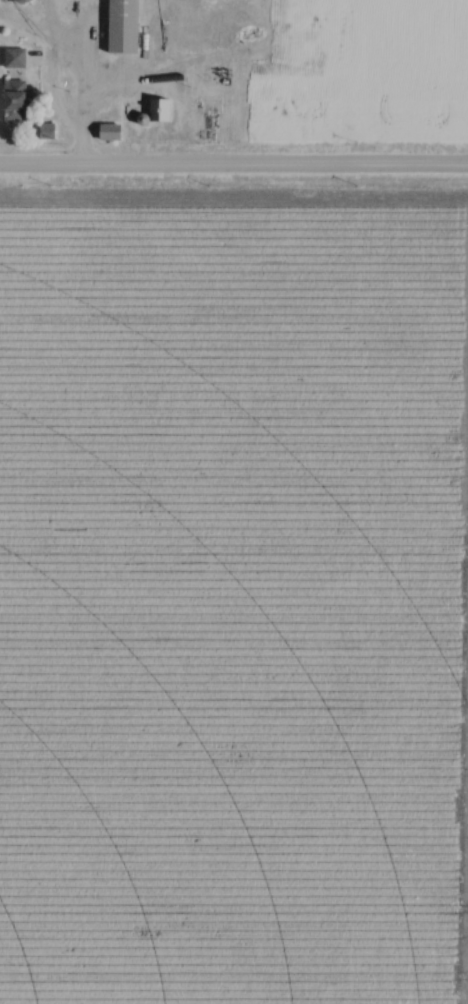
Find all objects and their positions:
building: (126, 26)
building: (183, 35)
building: (17, 58)
building: (278, 64)
road: (84, 93)
building: (19, 106)
building: (49, 131)
road: (234, 170)

